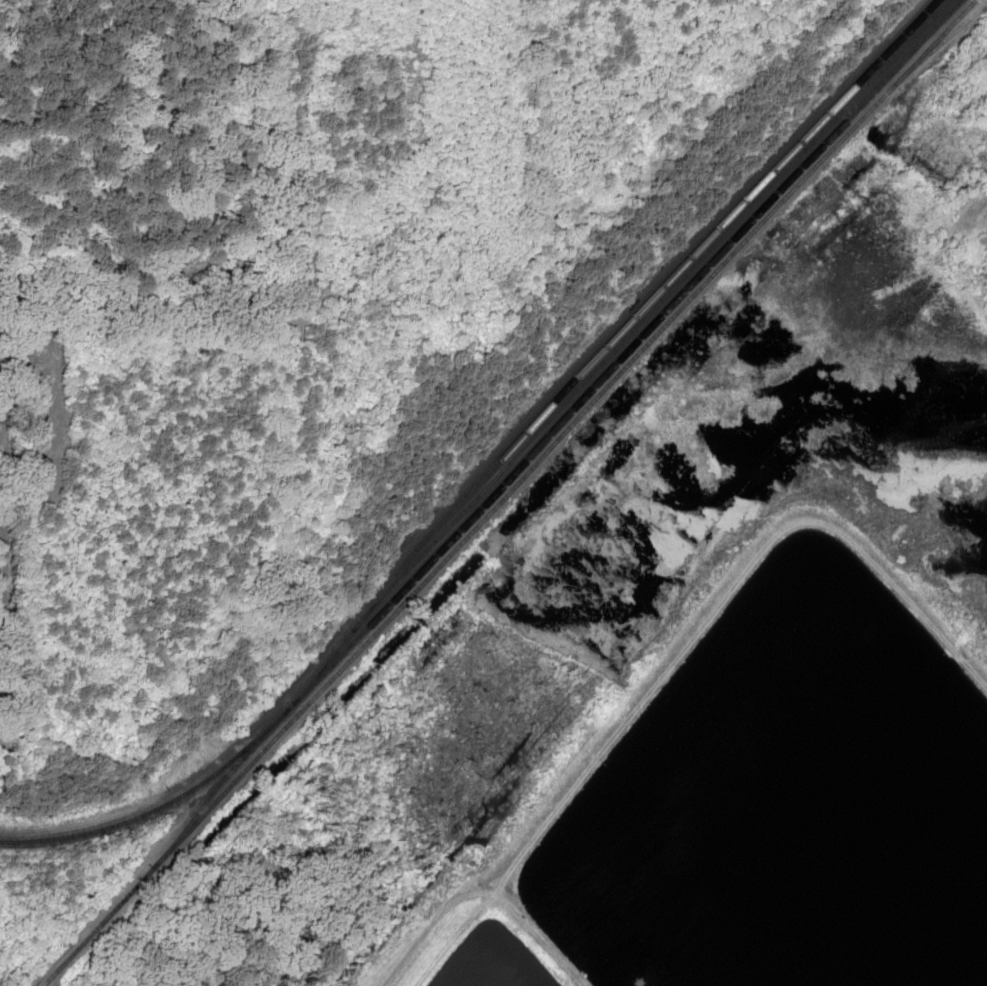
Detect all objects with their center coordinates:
railway: (500, 470)
railway: (504, 496)
building: (427, 538)

